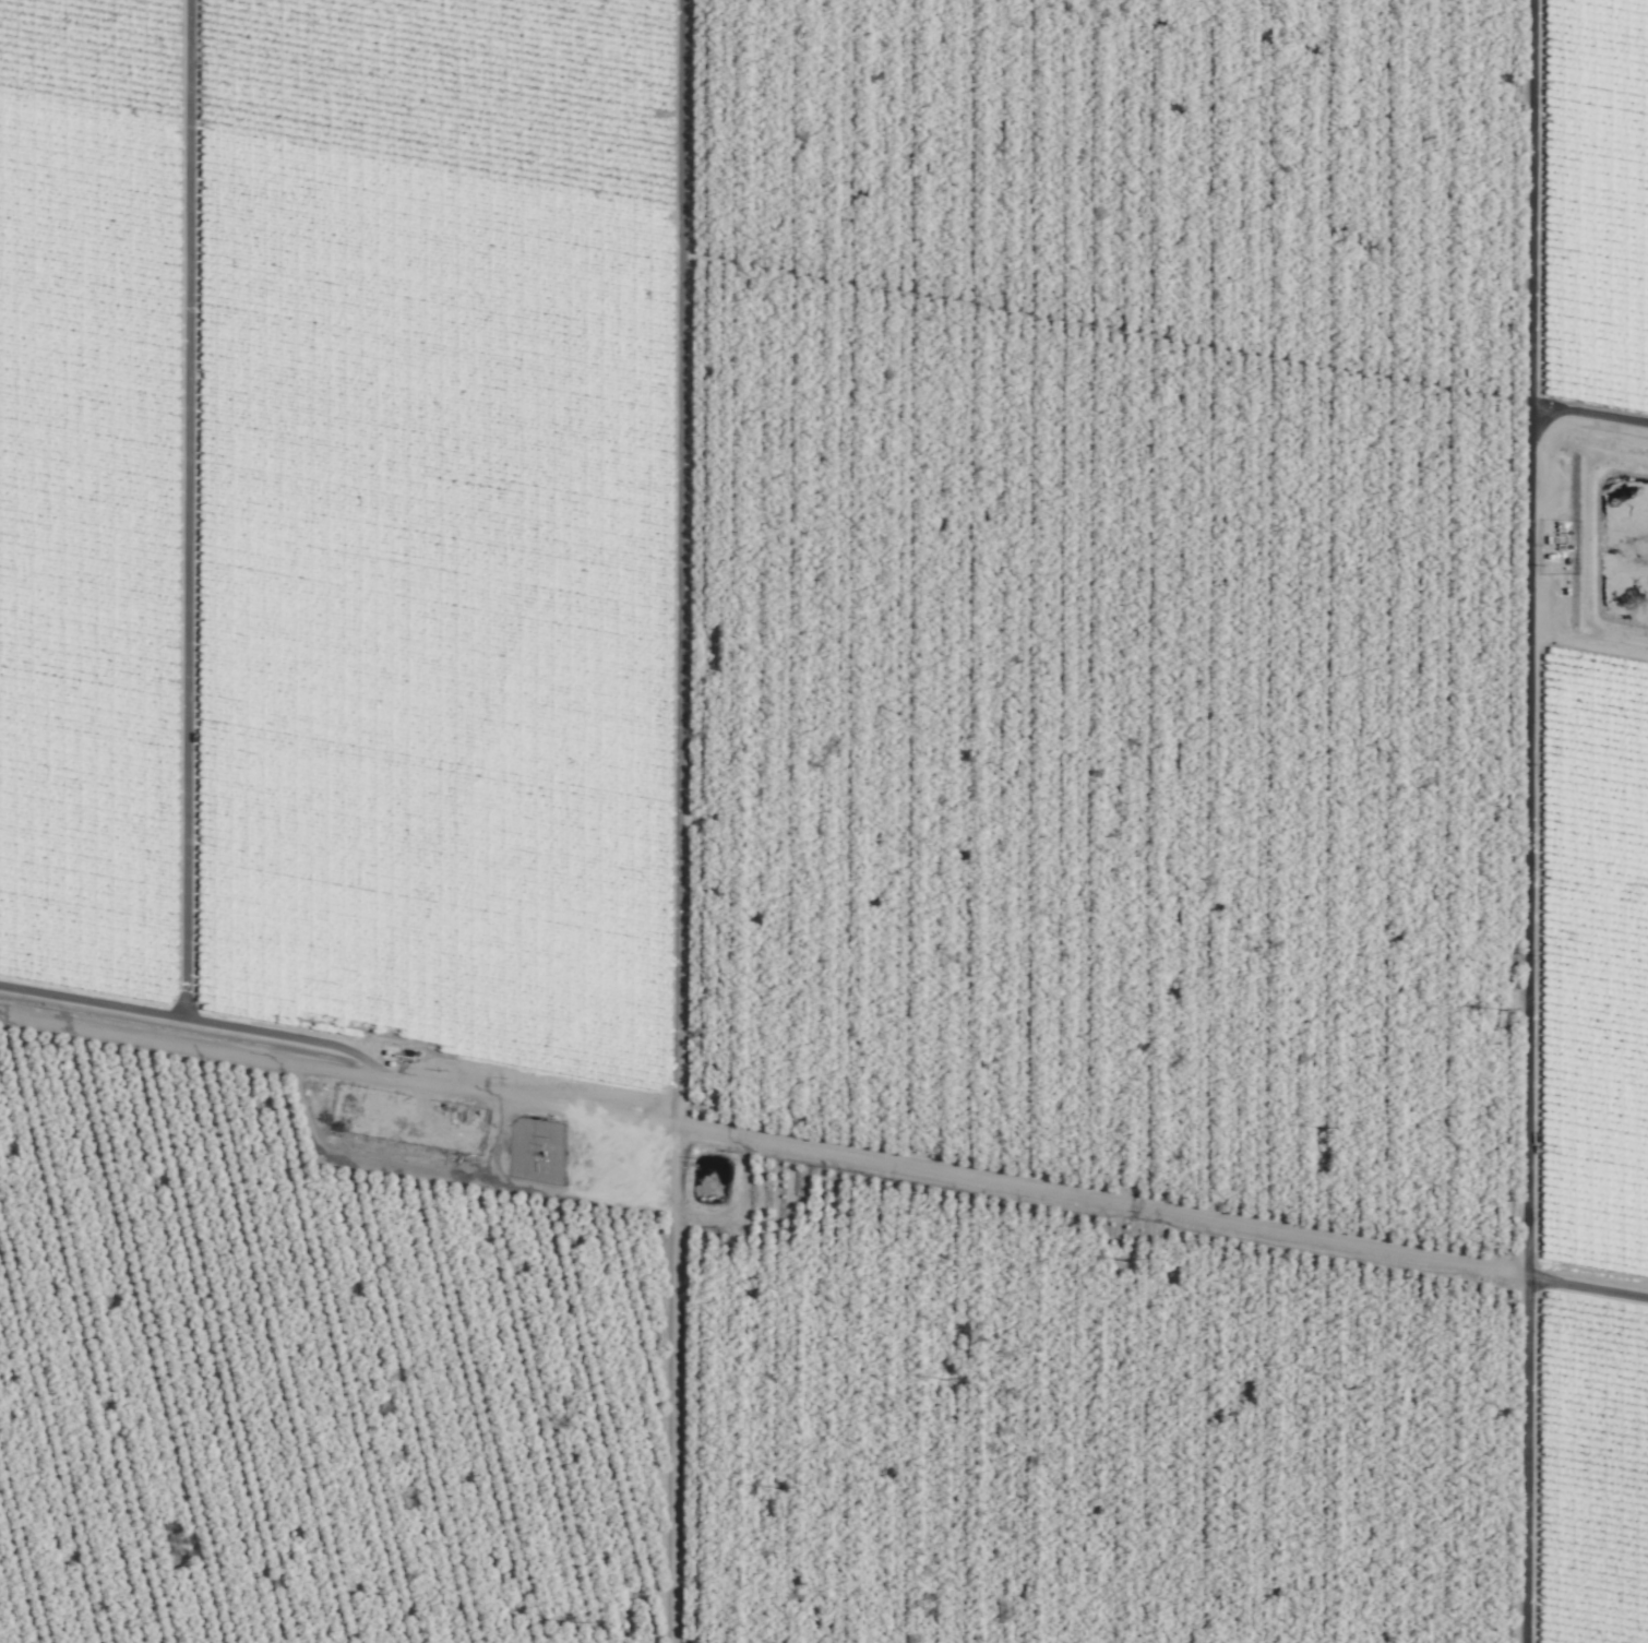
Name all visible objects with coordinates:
road: (679, 565)
crop: (824, 821)
road: (827, 1164)
wastewater plant: (779, 1213)
road: (1446, 1473)

